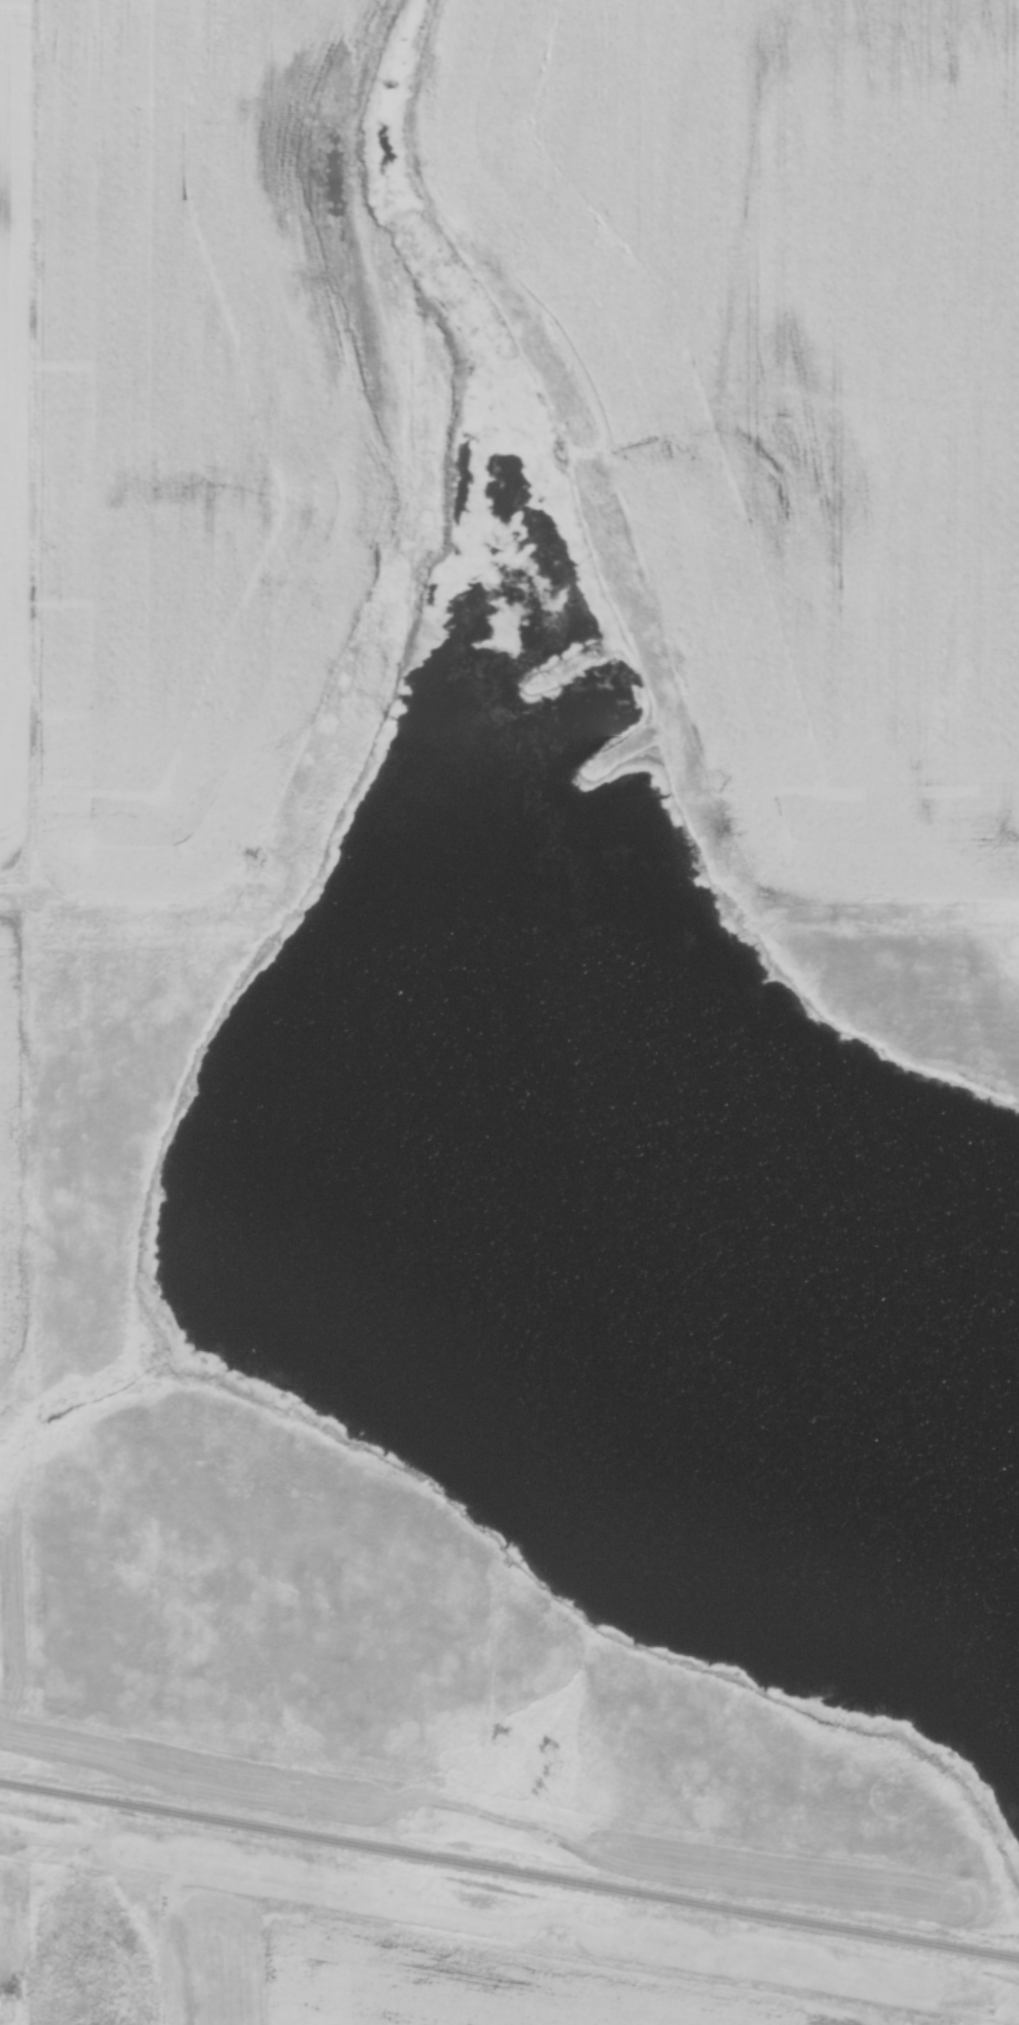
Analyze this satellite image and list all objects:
railway: (509, 1870)

